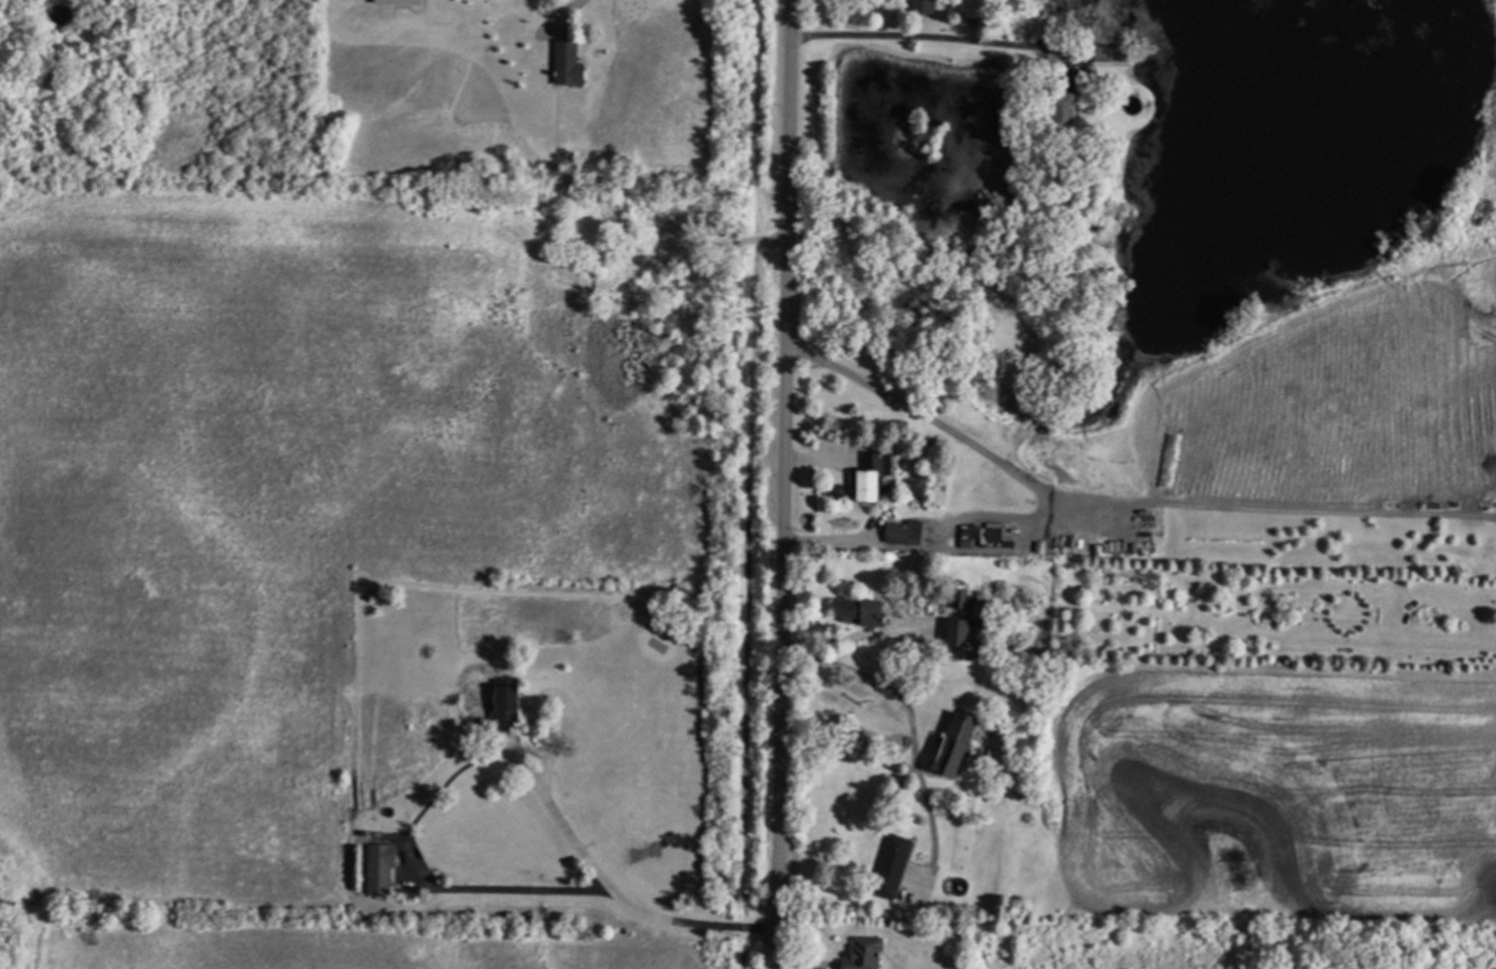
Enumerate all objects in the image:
building: (400, 1)
building: (924, 7)
road: (556, 8)
road: (565, 14)
building: (975, 21)
road: (925, 40)
building: (1112, 53)
building: (569, 63)
building: (1065, 106)
building: (707, 210)
crop: (1340, 391)
building: (937, 443)
building: (874, 474)
road: (787, 484)
building: (836, 489)
road: (1122, 502)
building: (930, 510)
crop: (272, 530)
building: (906, 532)
building: (966, 532)
road: (930, 542)
building: (1355, 551)
building: (963, 558)
building: (961, 598)
building: (864, 611)
building: (967, 630)
road: (861, 635)
building: (507, 704)
road: (911, 732)
building: (867, 742)
building: (956, 745)
crop: (1273, 796)
building: (893, 866)
building: (382, 869)
road: (502, 890)
road: (628, 906)
building: (866, 953)

